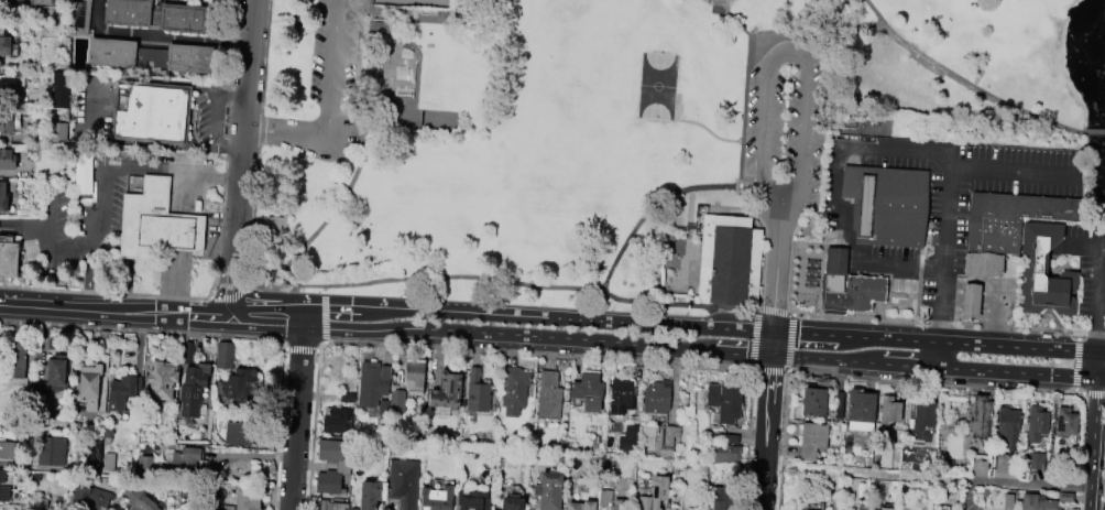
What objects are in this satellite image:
road: (392, 1)
building: (42, 2)
park: (412, 2)
road: (349, 11)
building: (127, 12)
building: (81, 17)
building: (182, 18)
road: (422, 19)
road: (817, 23)
building: (379, 26)
road: (392, 28)
road: (161, 34)
road: (794, 36)
building: (3, 43)
parking lot: (333, 50)
building: (111, 53)
road: (787, 54)
road: (264, 57)
building: (188, 58)
road: (357, 59)
park: (395, 70)
building: (31, 78)
road: (960, 78)
building: (7, 88)
building: (59, 89)
park: (658, 89)
road: (230, 94)
road: (396, 99)
road: (743, 102)
road: (330, 110)
building: (150, 112)
building: (59, 115)
road: (94, 117)
park: (570, 120)
building: (8, 122)
road: (214, 130)
road: (259, 131)
building: (58, 132)
road: (1088, 132)
park: (619, 135)
road: (227, 142)
building: (19, 148)
road: (896, 149)
road: (241, 156)
building: (7, 159)
road: (1014, 167)
road: (99, 169)
building: (2, 198)
building: (886, 205)
road: (748, 206)
road: (253, 215)
road: (326, 215)
building: (1010, 219)
building: (274, 223)
building: (155, 224)
road: (50, 230)
parking lot: (212, 235)
road: (777, 238)
road: (817, 243)
building: (8, 259)
road: (44, 260)
building: (729, 260)
parking lot: (1087, 263)
building: (982, 264)
road: (610, 265)
road: (128, 268)
road: (761, 269)
building: (1044, 272)
road: (776, 274)
road: (1101, 275)
road: (56, 278)
road: (214, 279)
road: (425, 279)
road: (790, 279)
road: (172, 282)
building: (849, 285)
road: (917, 285)
road: (324, 289)
road: (128, 291)
road: (818, 291)
road: (105, 293)
road: (232, 296)
gas station: (970, 301)
building: (971, 301)
road: (909, 304)
road: (353, 306)
road: (745, 310)
road: (1047, 310)
road: (116, 312)
road: (775, 313)
road: (324, 317)
road: (626, 319)
road: (934, 324)
traffic signals: (774, 329)
road: (143, 332)
road: (501, 332)
road: (1091, 334)
road: (1077, 336)
road: (939, 338)
building: (103, 339)
road: (755, 340)
road: (774, 340)
road: (789, 344)
road: (299, 349)
building: (189, 352)
road: (533, 352)
traffic signals: (775, 352)
building: (223, 355)
road: (823, 356)
road: (906, 362)
building: (15, 363)
road: (1075, 366)
road: (1022, 370)
road: (770, 371)
building: (414, 376)
building: (162, 380)
building: (53, 382)
building: (373, 382)
road: (930, 383)
building: (89, 386)
building: (192, 389)
building: (236, 389)
building: (515, 390)
building: (447, 391)
building: (587, 391)
building: (120, 392)
building: (478, 393)
road: (1079, 393)
road: (1094, 393)
building: (548, 395)
building: (347, 397)
building: (620, 397)
building: (397, 398)
building: (656, 398)
building: (724, 402)
building: (813, 402)
building: (839, 404)
road: (295, 406)
building: (384, 409)
building: (889, 410)
building: (860, 411)
building: (923, 415)
building: (980, 417)
building: (338, 421)
building: (1035, 424)
building: (1007, 425)
building: (1063, 425)
road: (278, 428)
road: (313, 431)
road: (769, 431)
road: (1095, 431)
building: (241, 434)
building: (108, 436)
building: (627, 438)
building: (729, 438)
building: (667, 440)
road: (745, 440)
building: (812, 440)
road: (783, 441)
building: (379, 447)
building: (7, 449)
building: (52, 452)
building: (725, 453)
building: (94, 457)
building: (108, 460)
building: (1036, 462)
building: (184, 463)
building: (143, 466)
building: (342, 466)
building: (1, 477)
building: (36, 478)
road: (983, 481)
building: (404, 484)
building: (549, 490)
building: (656, 491)
building: (4, 493)
building: (369, 495)
building: (91, 497)
building: (721, 497)
building: (437, 498)
building: (245, 499)
building: (604, 499)
building: (473, 500)
building: (142, 501)
building: (1007, 501)
building: (1042, 501)
building: (513, 502)
building: (39, 503)
building: (329, 506)
building: (580, 506)
building: (0, 507)
building: (13, 507)
building: (227, 508)
building: (671, 508)
building: (880, 508)
building: (351, 509)

